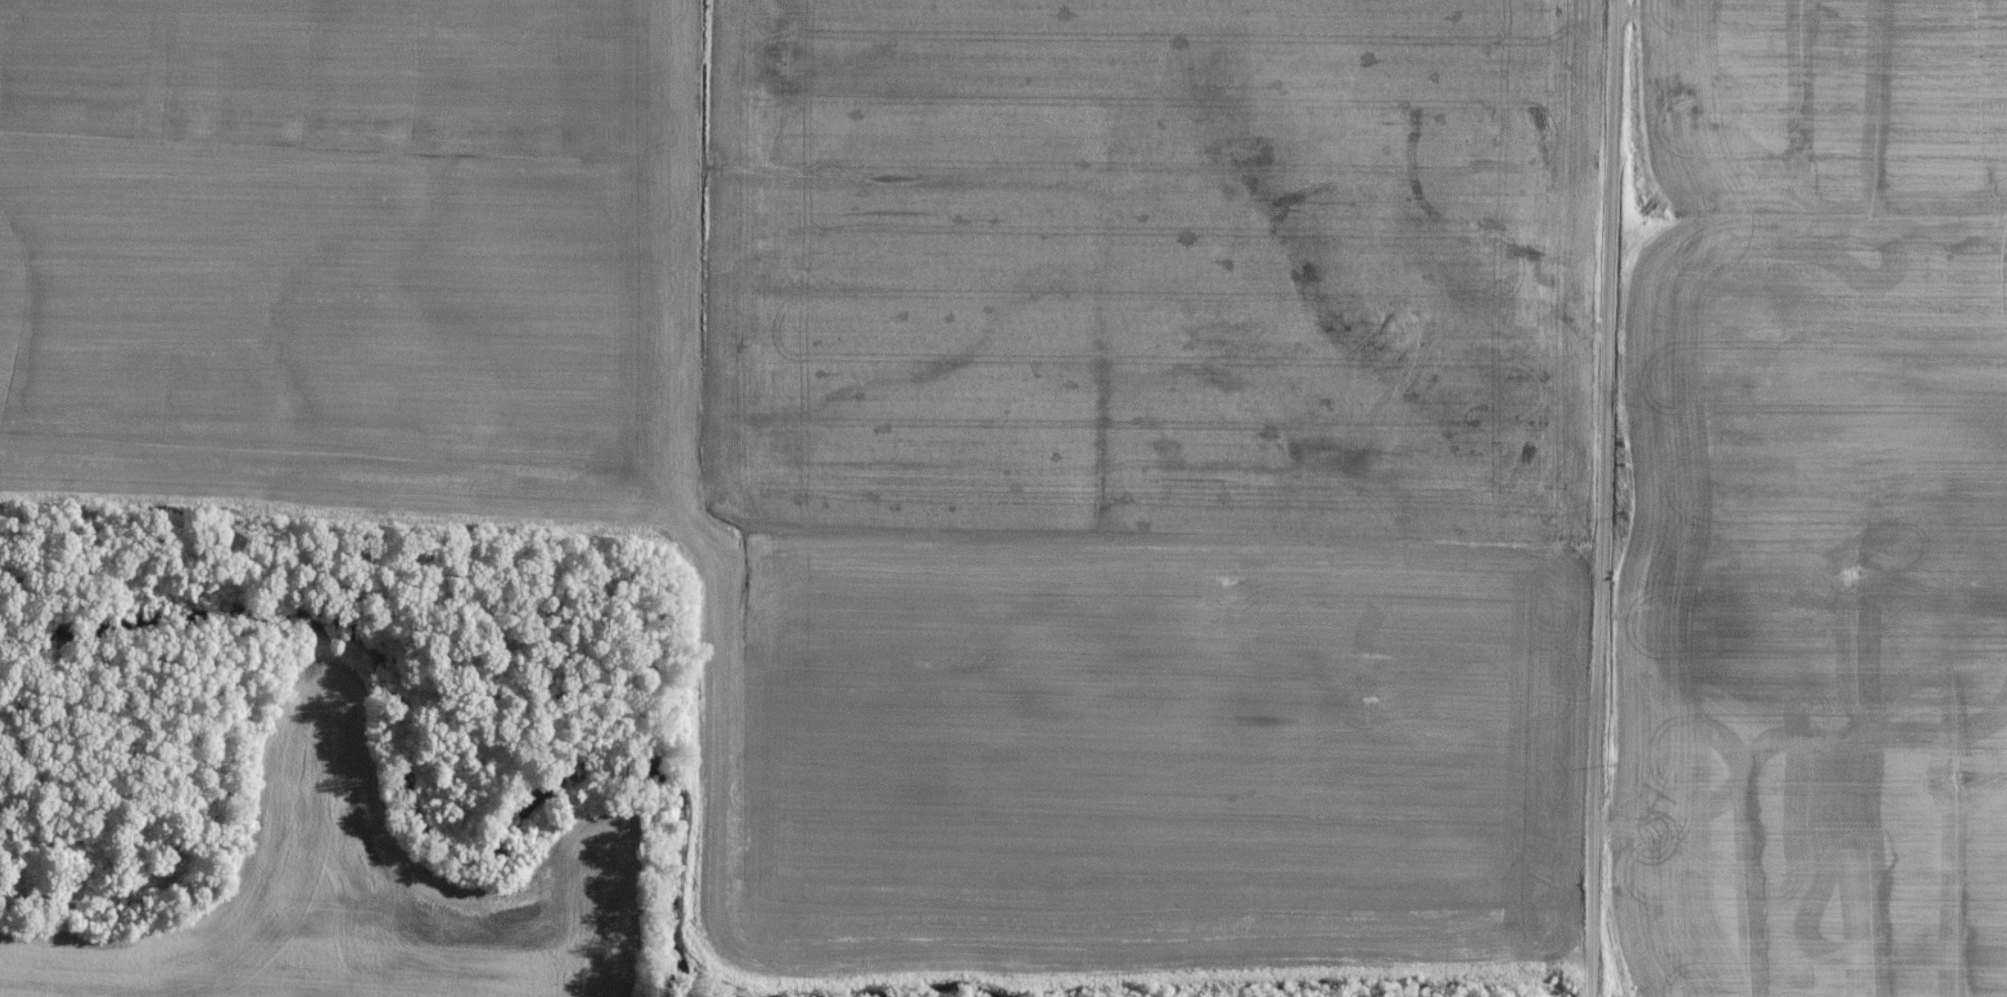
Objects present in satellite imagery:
road: (1603, 498)

